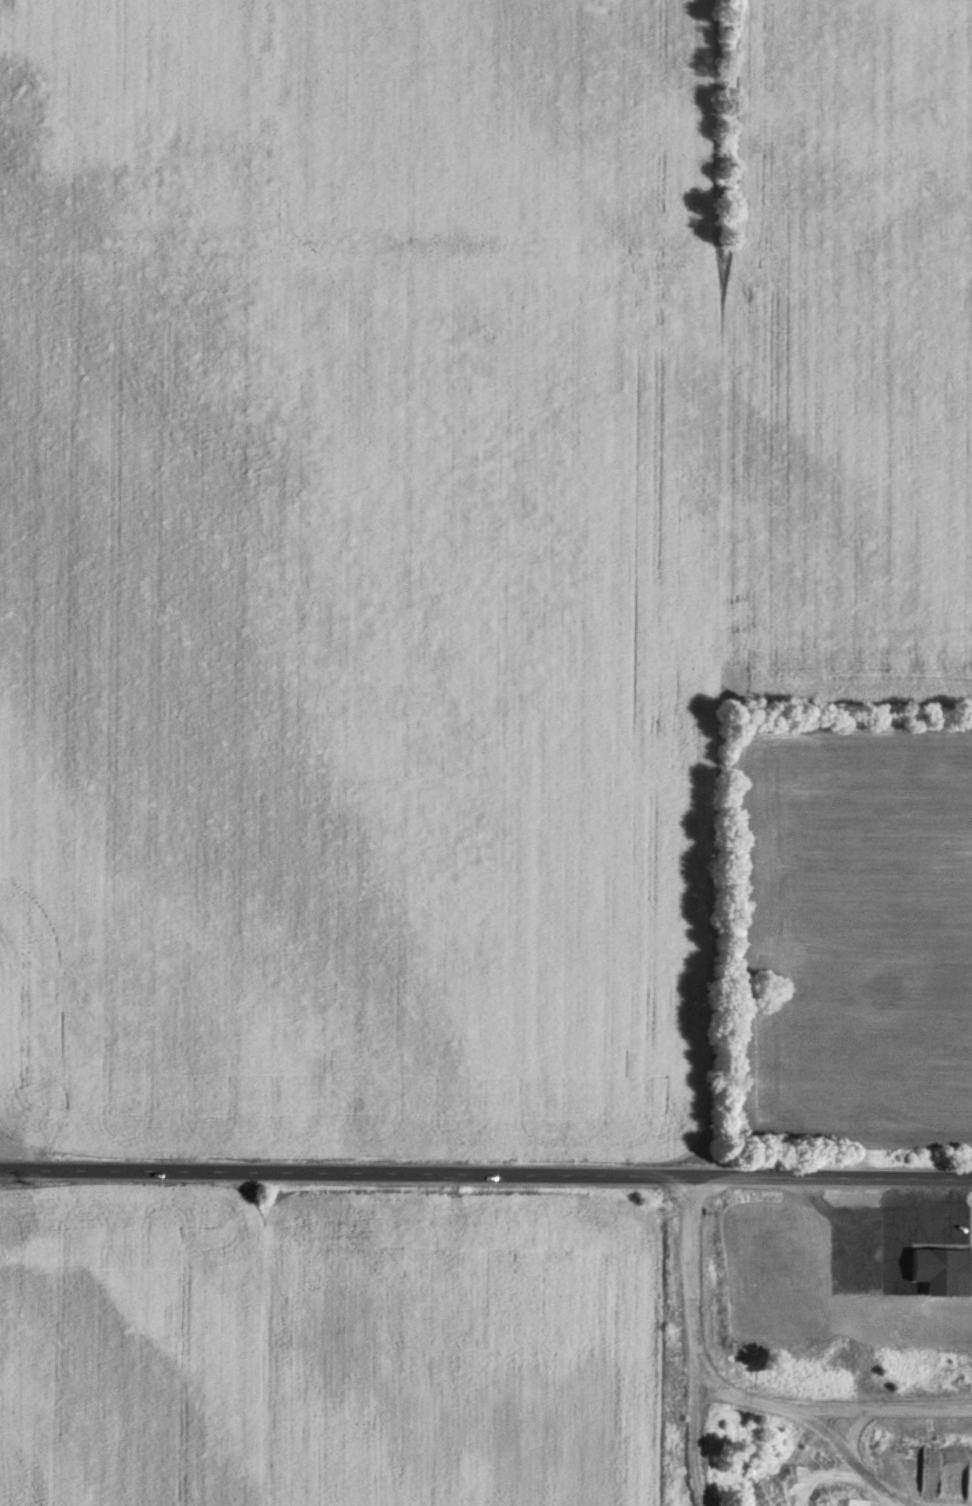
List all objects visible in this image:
road: (486, 1182)
road: (874, 1223)
road: (875, 1253)
building: (940, 1275)
road: (682, 1333)
road: (883, 1406)
road: (845, 1425)
road: (842, 1454)

